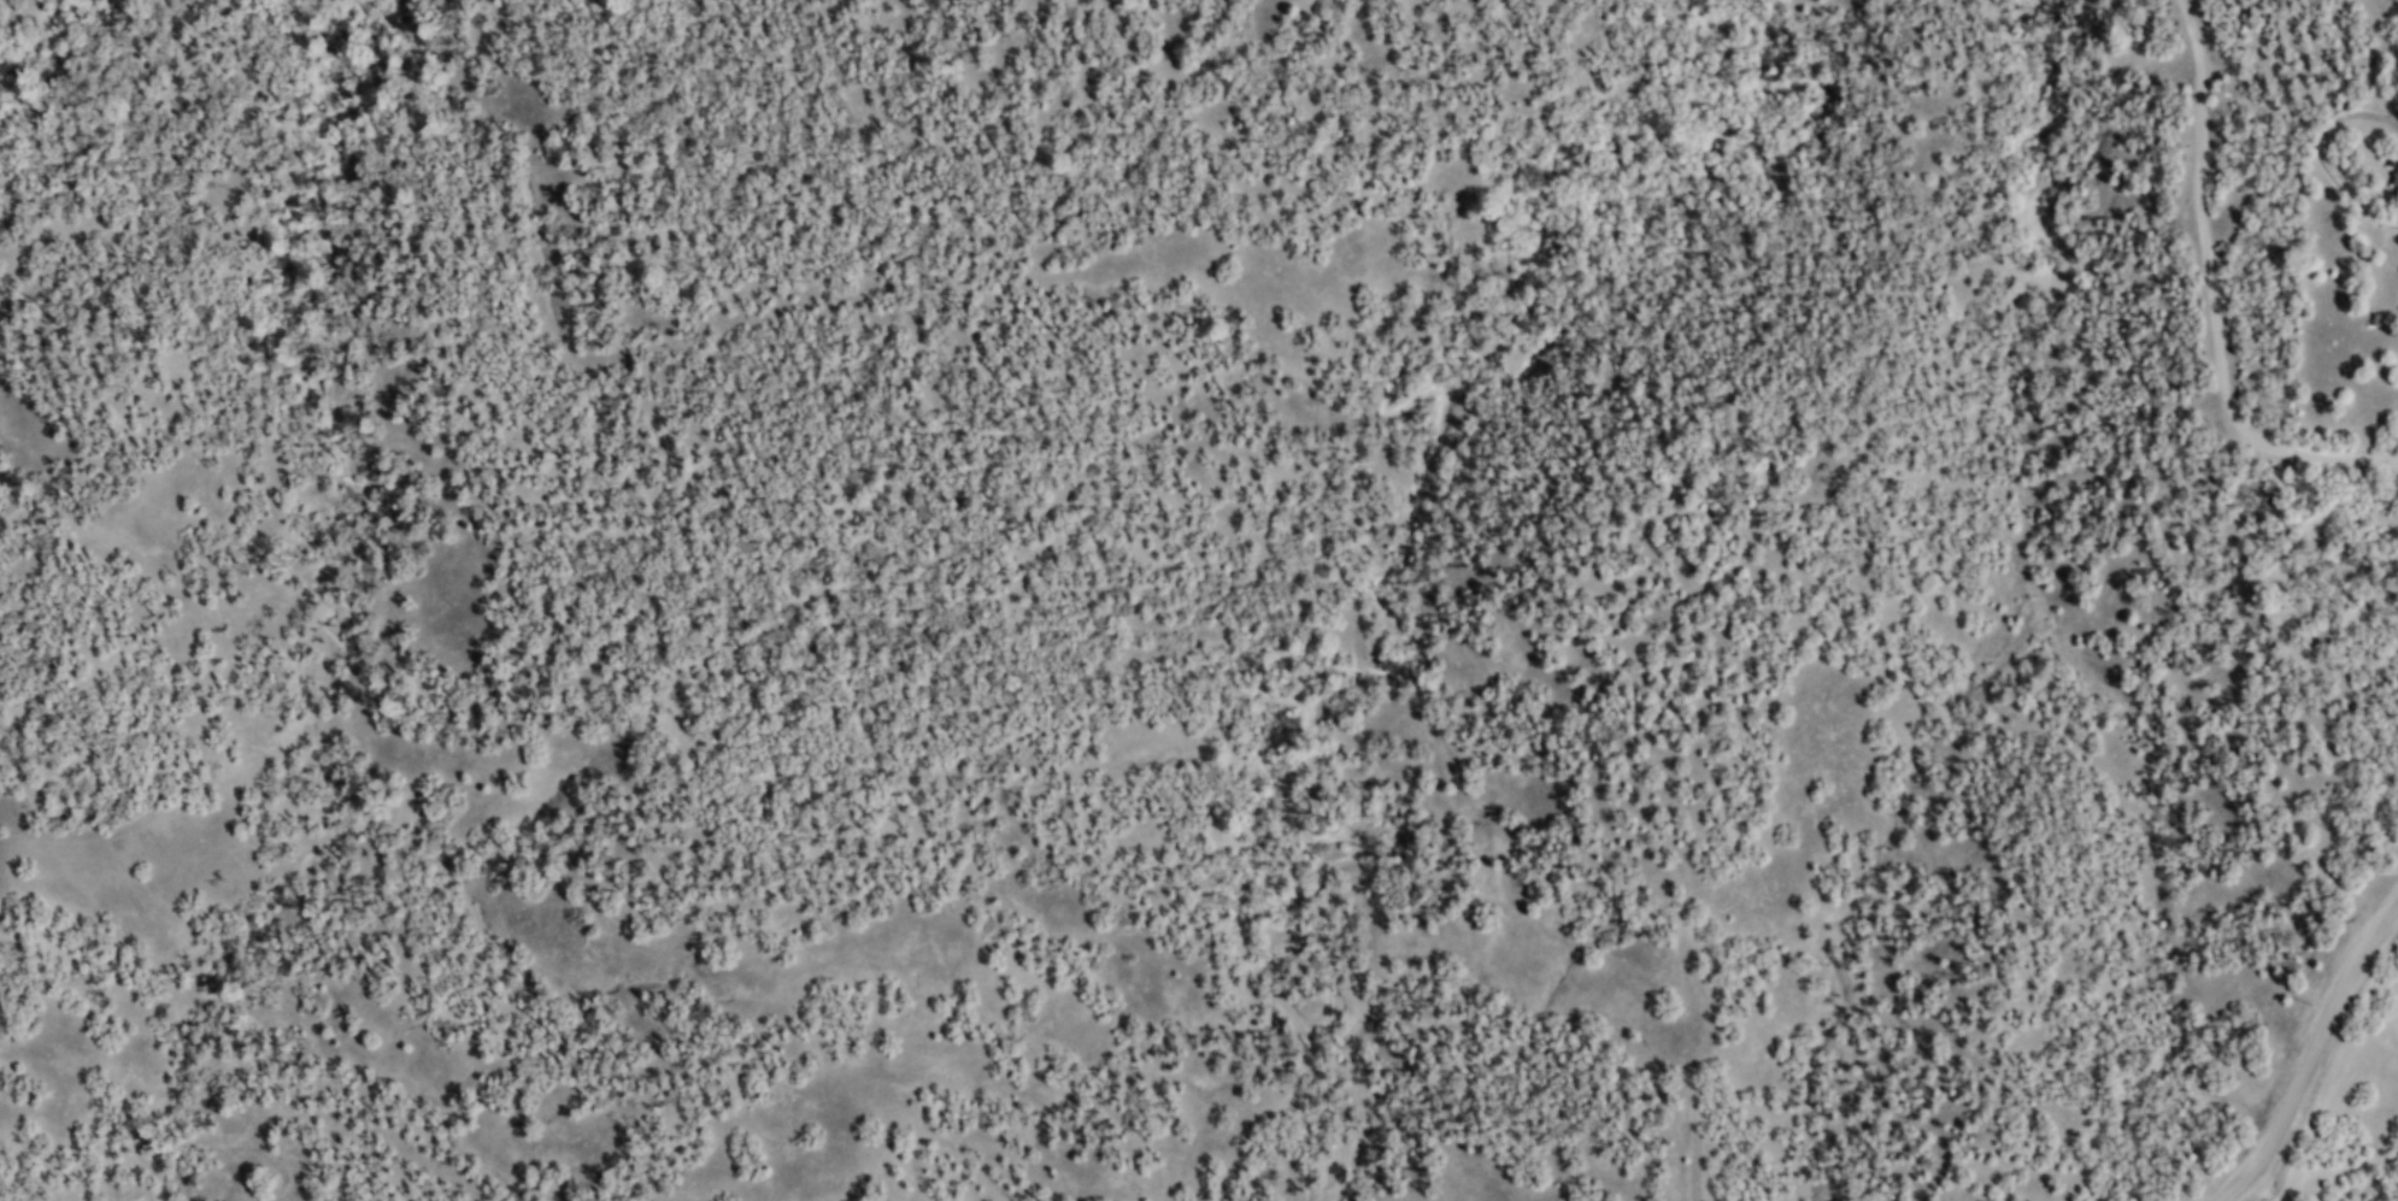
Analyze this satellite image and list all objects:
road: (2327, 152)
building: (2394, 177)
road: (2217, 292)
road: (1710, 1026)
road: (2315, 1060)
road: (2267, 1191)

